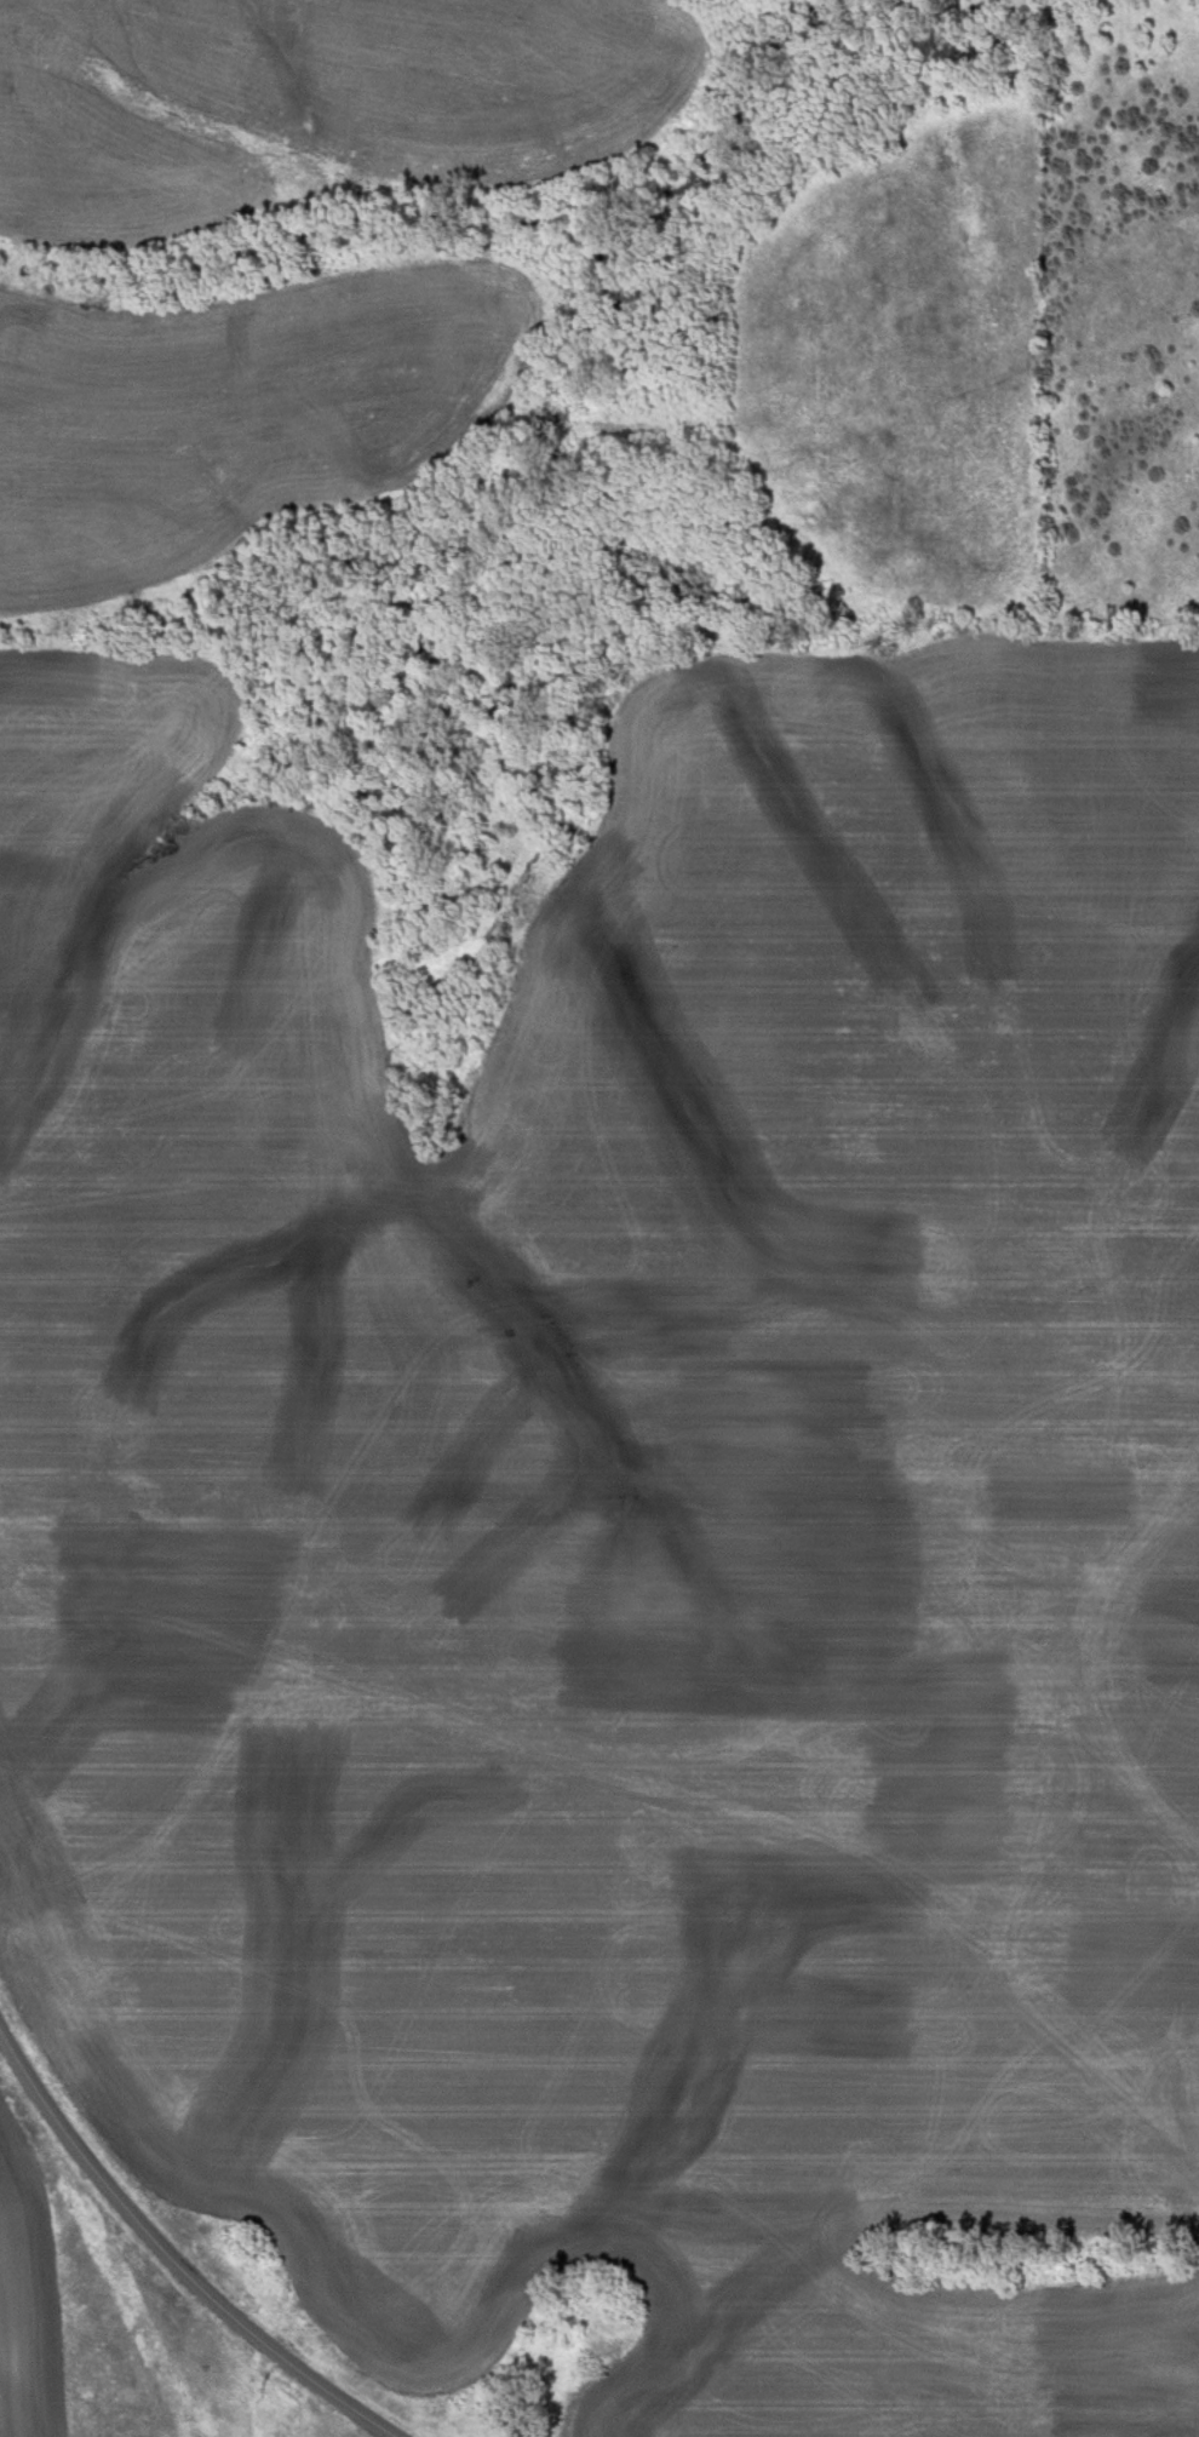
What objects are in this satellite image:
road: (179, 2254)

